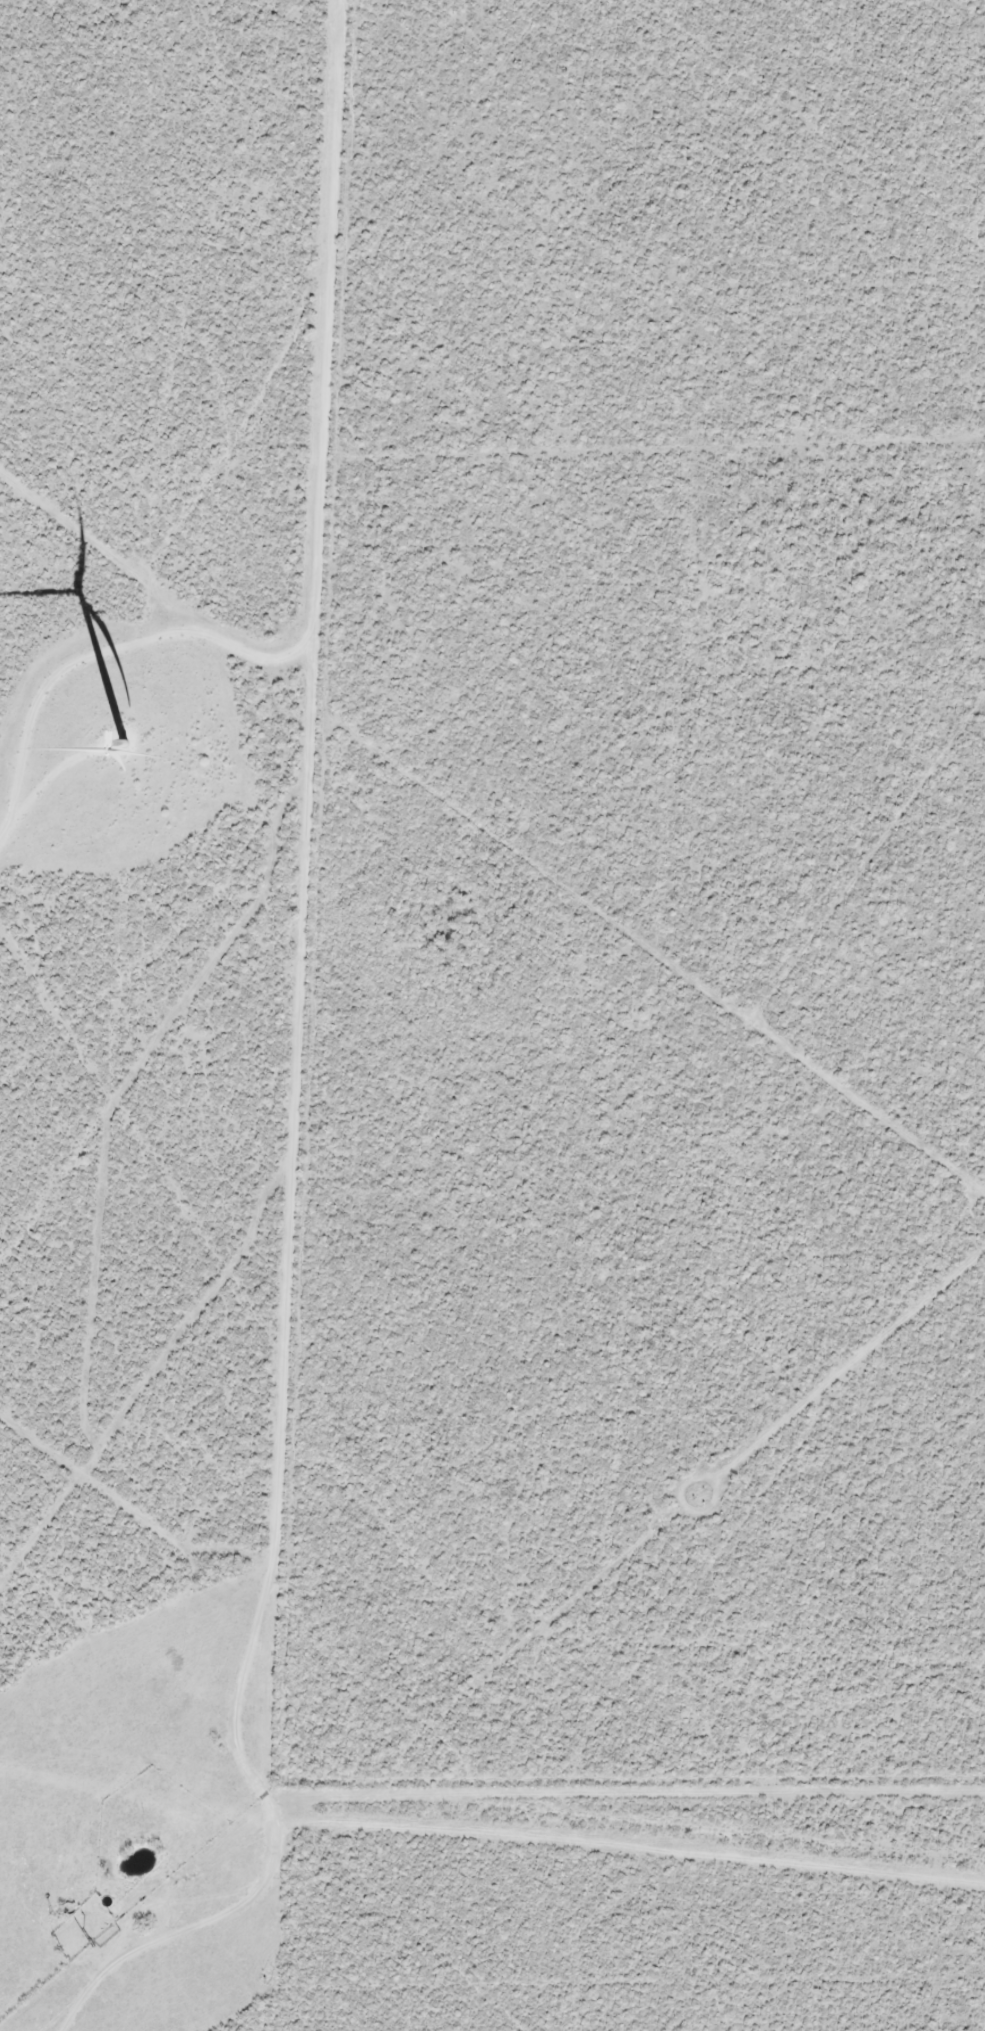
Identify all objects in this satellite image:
wind turbine: (118, 752)
road: (502, 1837)

